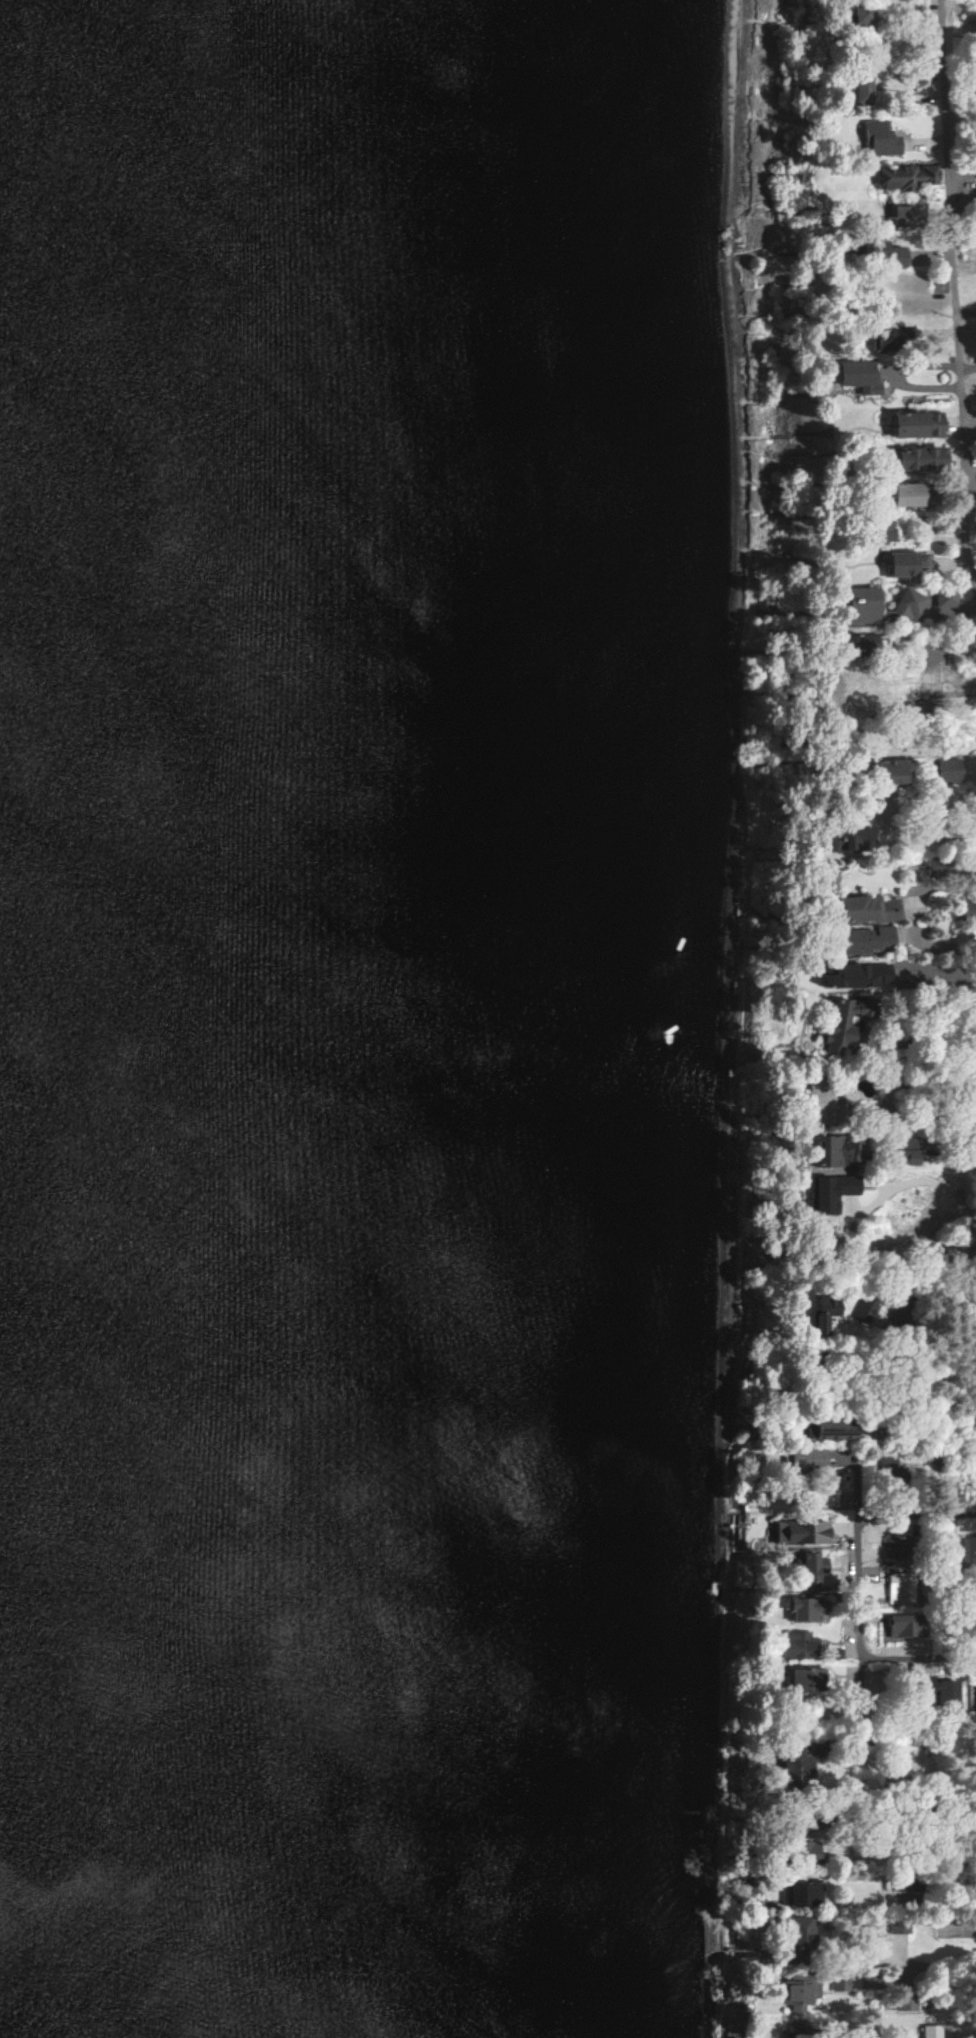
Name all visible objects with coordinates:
building: (864, 15)
building: (881, 138)
building: (906, 176)
building: (901, 211)
building: (886, 253)
road: (957, 285)
building: (889, 342)
road: (968, 368)
building: (859, 376)
building: (920, 424)
building: (924, 458)
building: (917, 493)
building: (889, 529)
building: (908, 562)
building: (948, 598)
building: (867, 604)
building: (868, 643)
road: (947, 643)
building: (895, 770)
building: (951, 770)
building: (860, 838)
building: (869, 909)
building: (864, 935)
road: (968, 972)
building: (857, 975)
road: (933, 1042)
building: (839, 1149)
building: (834, 1191)
road: (908, 1201)
building: (827, 1313)
building: (868, 1313)
building: (832, 1430)
road: (910, 1515)
building: (802, 1532)
building: (898, 1546)
building: (967, 1555)
building: (811, 1570)
building: (900, 1588)
road: (857, 1600)
building: (905, 1627)
building: (799, 1645)
road: (924, 1658)
building: (808, 1680)
building: (943, 1691)
building: (975, 1704)
road: (946, 1784)
road: (948, 1805)
building: (809, 1850)
building: (805, 1894)
building: (798, 1932)
road: (964, 1958)
building: (839, 1985)
building: (800, 1993)
building: (906, 2005)
building: (927, 2031)

